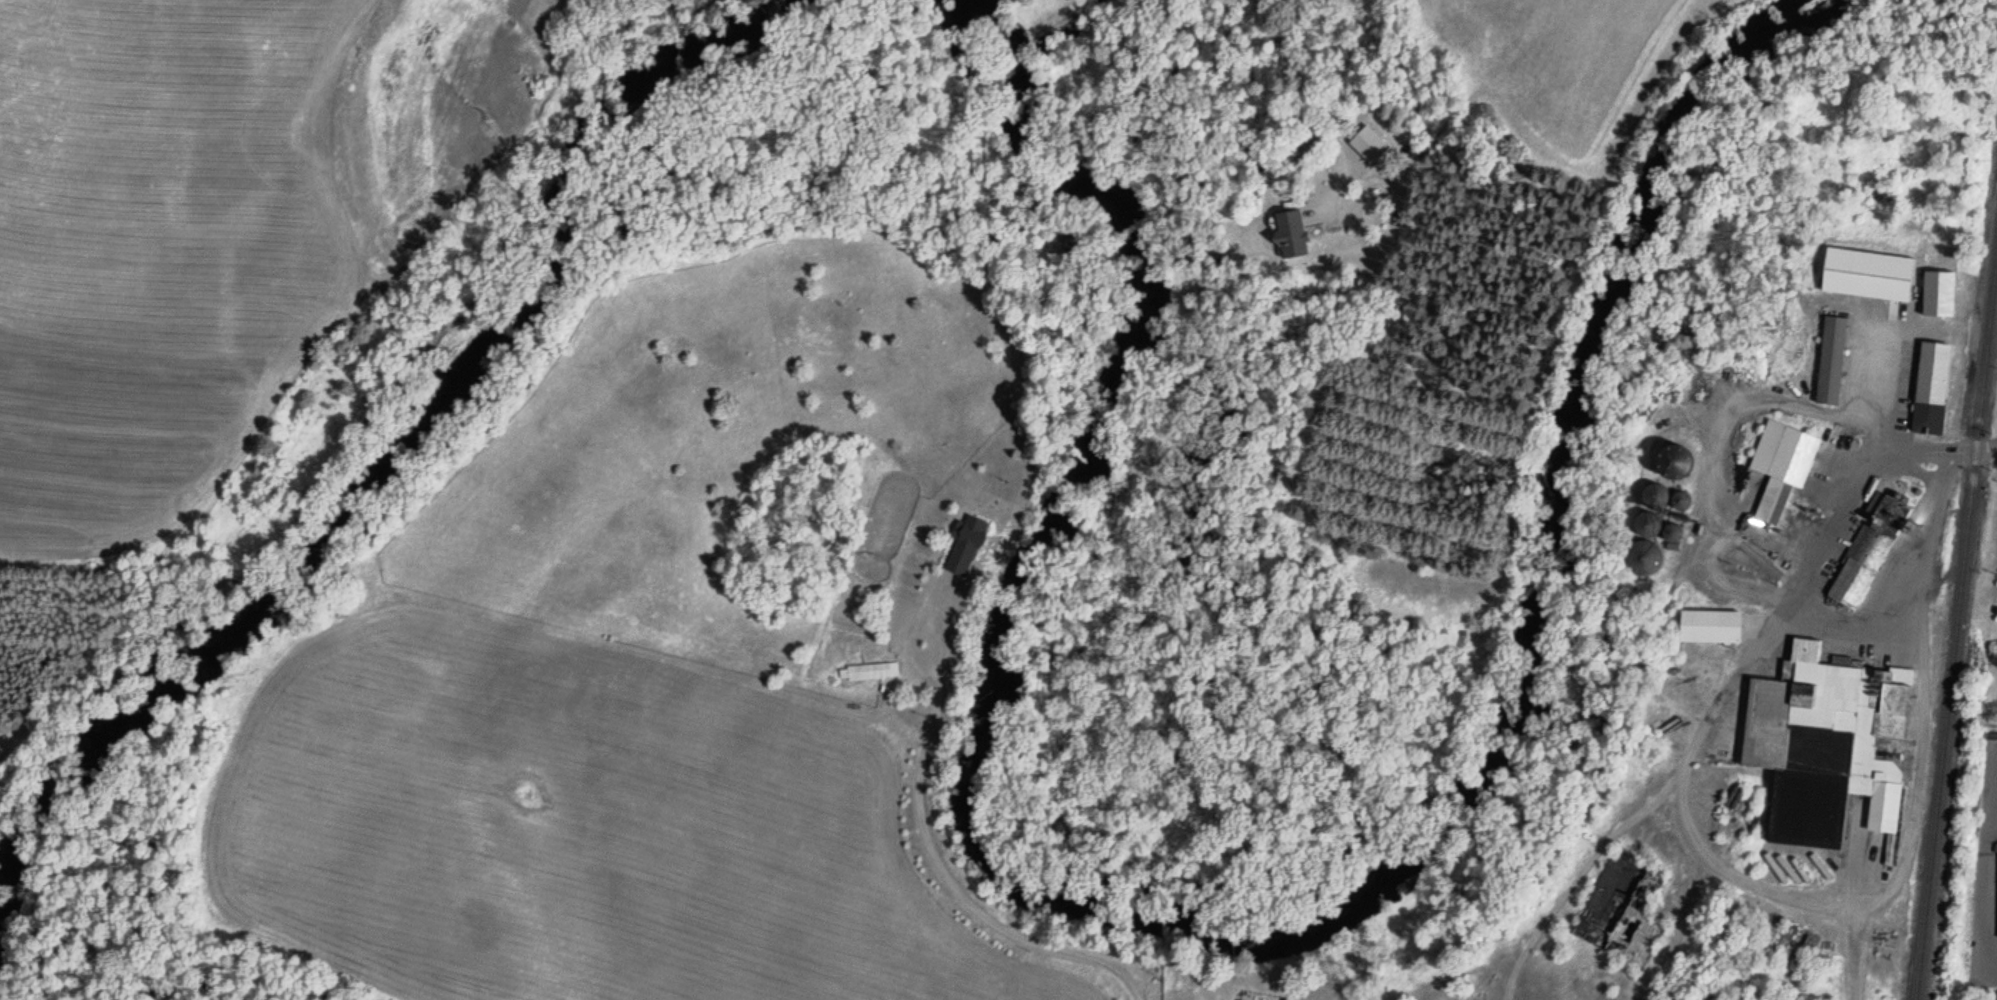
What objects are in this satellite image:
river: (993, 22)
building: (1291, 226)
building: (1936, 287)
building: (1830, 354)
building: (1928, 383)
road: (1721, 419)
building: (1781, 460)
river: (389, 474)
building: (1655, 497)
building: (1647, 526)
road: (1832, 531)
building: (965, 536)
road: (1686, 541)
building: (1868, 545)
building: (1730, 586)
building: (1995, 607)
railway: (1953, 614)
building: (1711, 620)
building: (867, 672)
building: (1665, 712)
building: (1825, 737)
road: (1909, 808)
road: (1993, 811)
road: (1601, 840)
building: (1888, 855)
road: (1985, 862)
building: (1618, 911)
river: (1250, 921)
road: (1675, 929)
road: (1851, 953)
road: (1507, 988)
building: (1246, 998)
building: (1267, 999)

